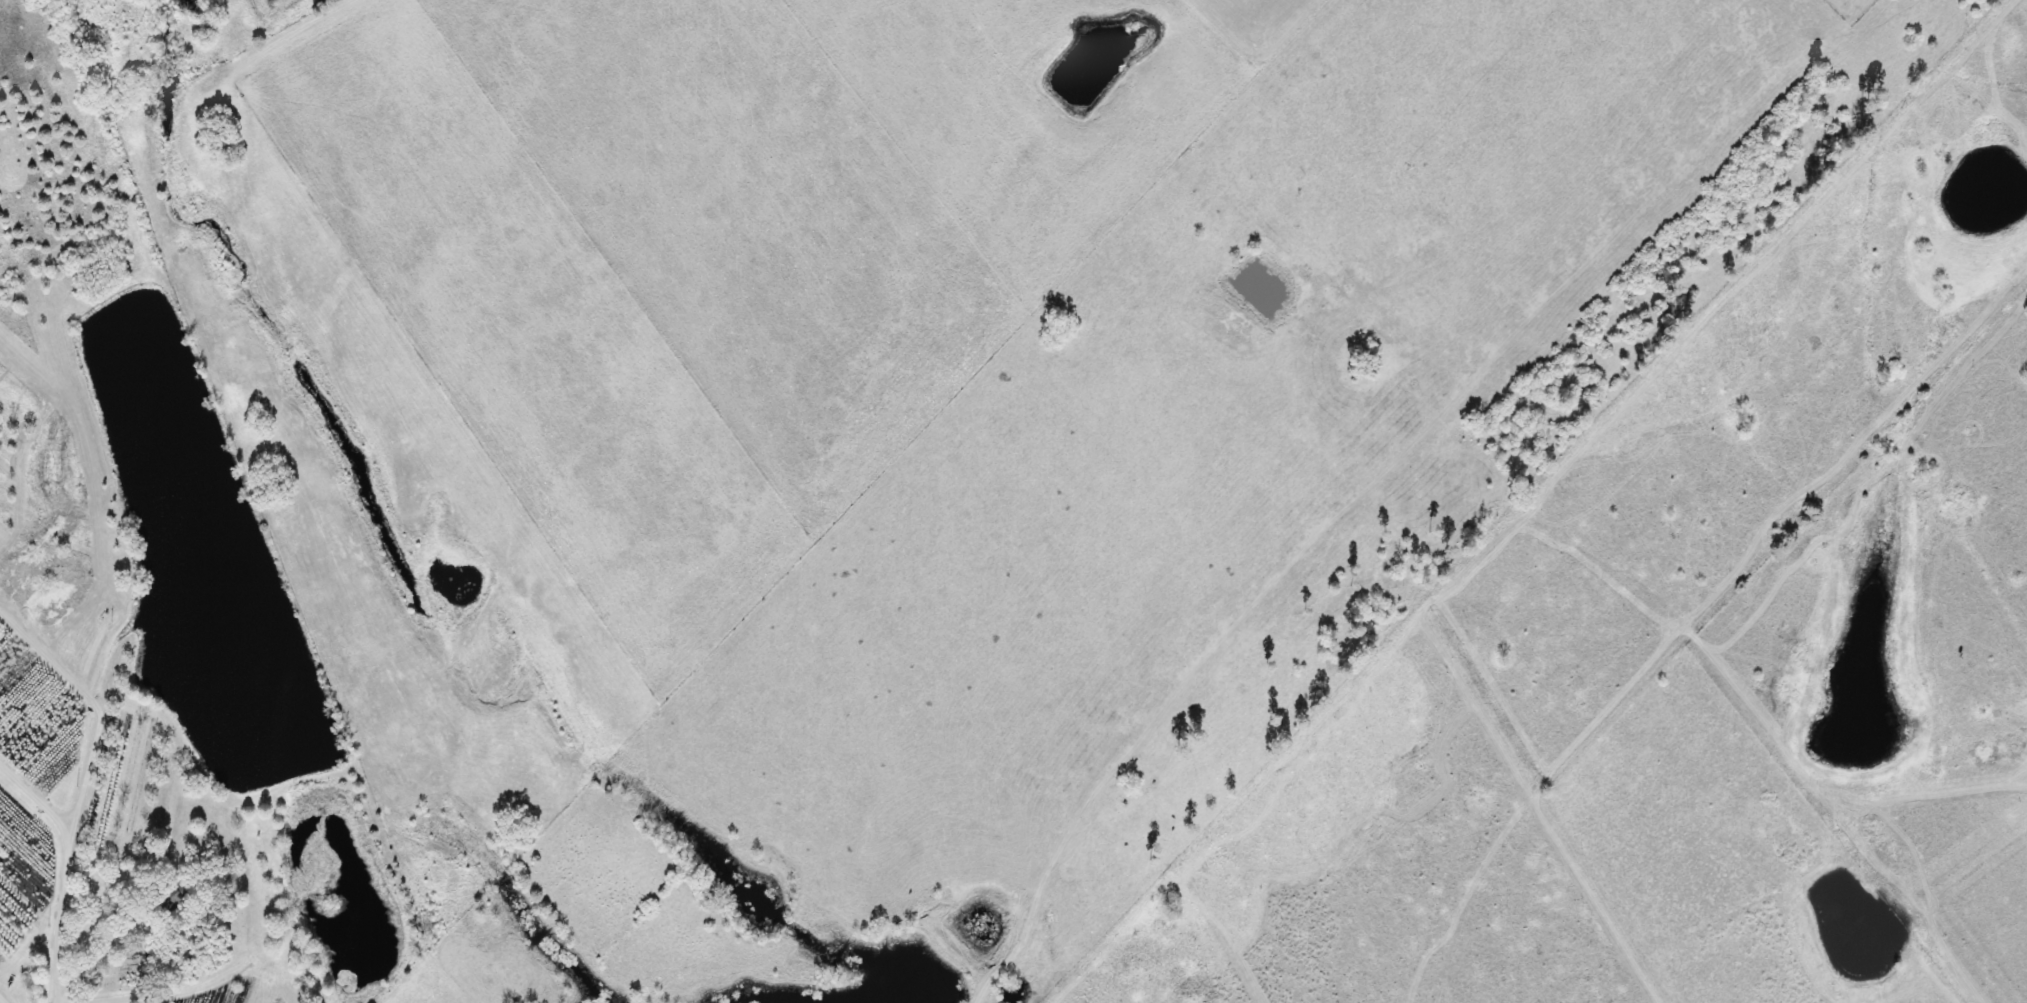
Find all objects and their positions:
road: (60, 819)
building: (165, 899)
road: (98, 959)
road: (10, 993)
road: (61, 994)

